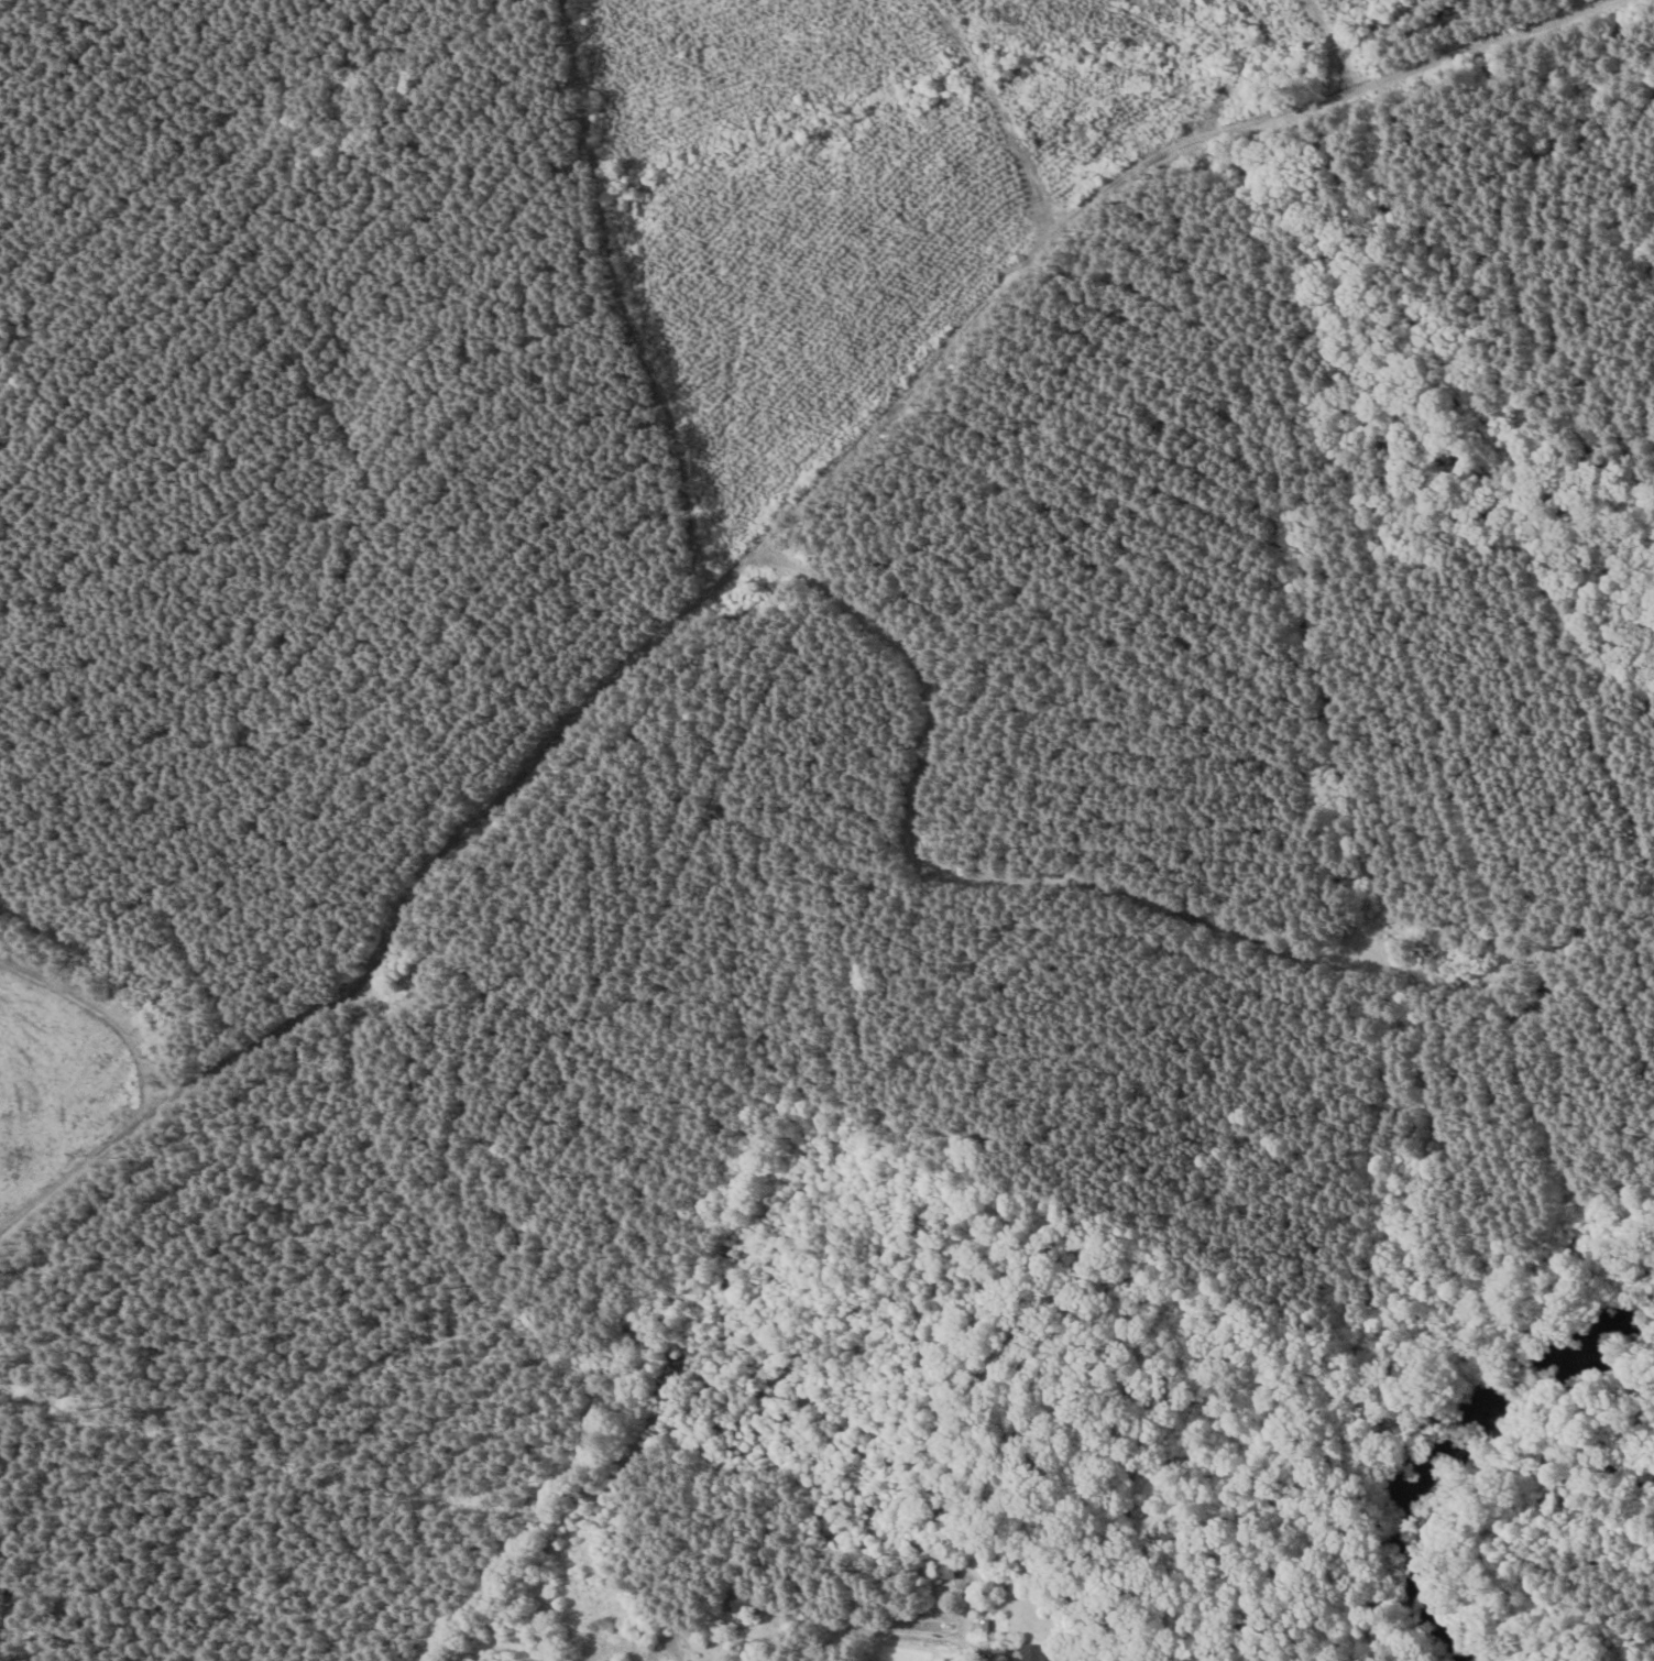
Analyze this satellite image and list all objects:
river: (1447, 1422)
building: (1032, 1653)

